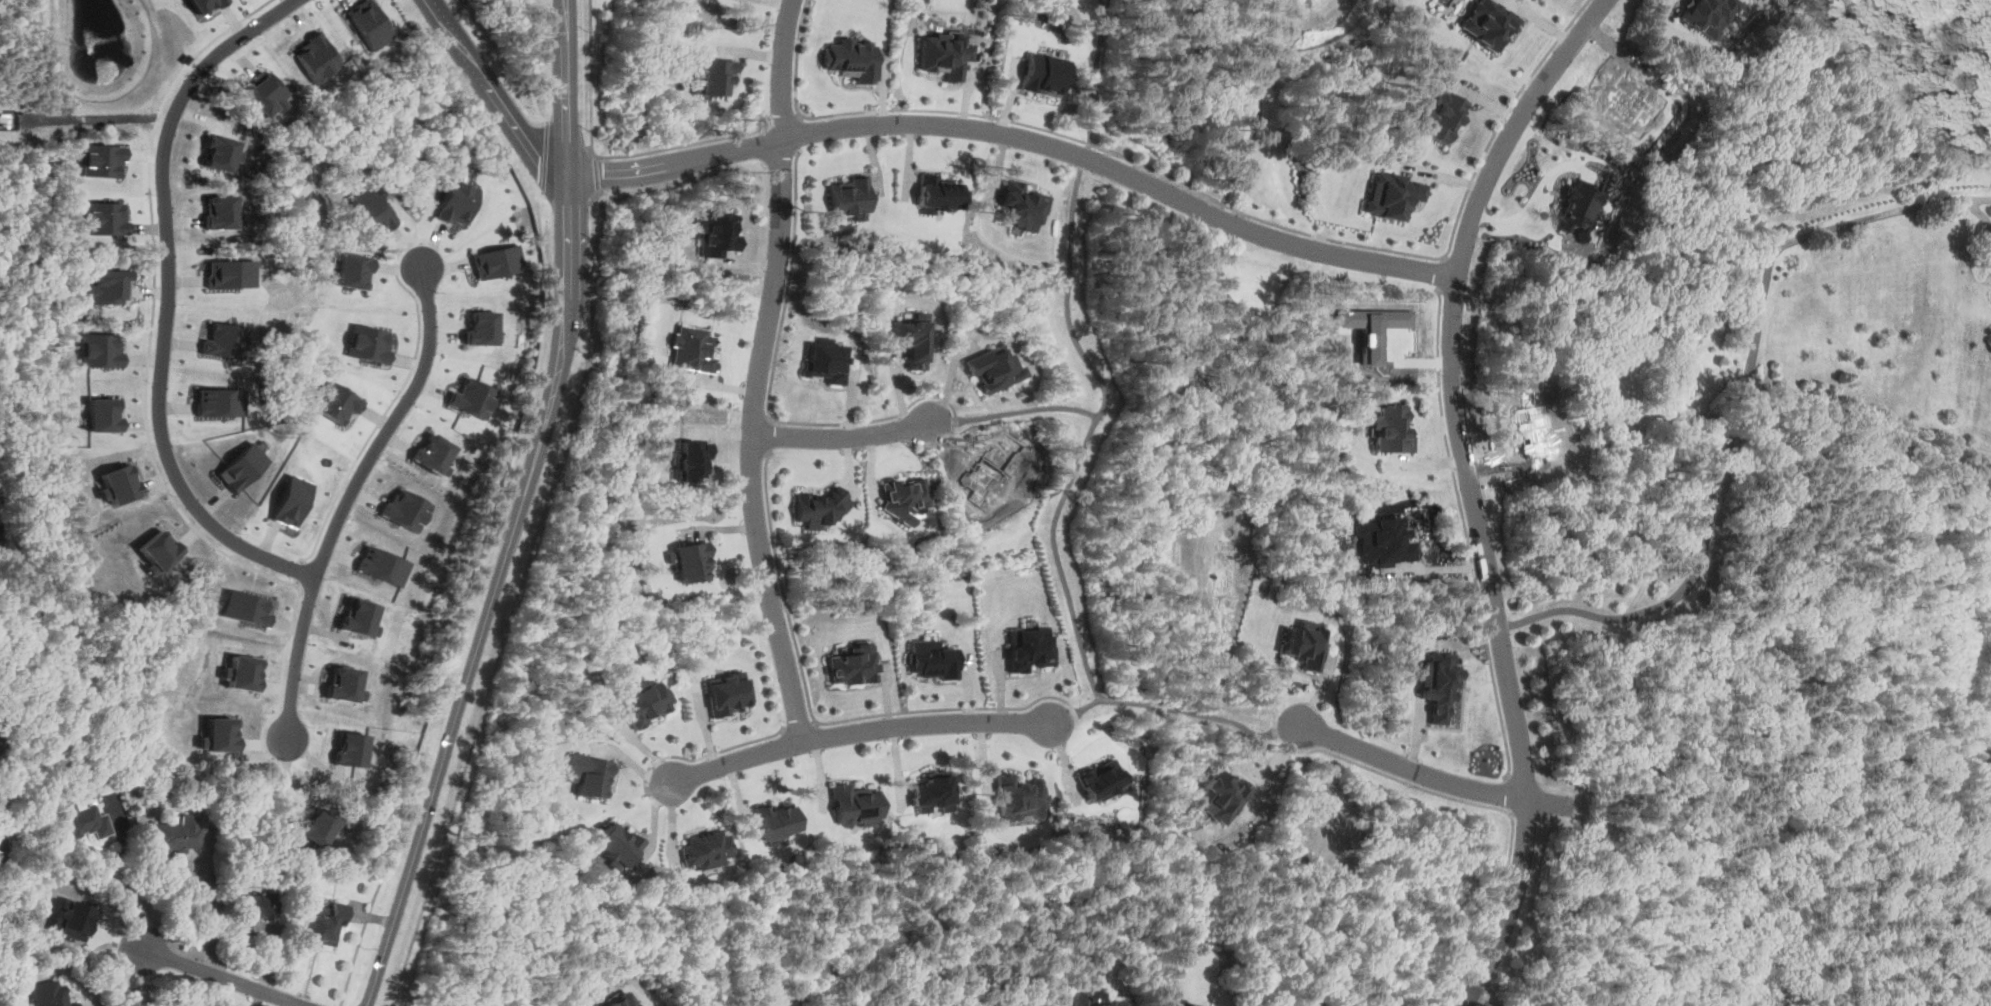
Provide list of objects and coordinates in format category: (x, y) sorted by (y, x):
building: (202, 4)
building: (1705, 14)
building: (367, 23)
building: (1487, 23)
building: (944, 55)
building: (315, 56)
building: (183, 58)
building: (852, 59)
road: (1095, 70)
building: (1046, 74)
building: (712, 76)
building: (264, 94)
road: (493, 96)
road: (1259, 105)
road: (799, 115)
road: (96, 116)
building: (1441, 116)
road: (783, 122)
road: (798, 132)
road: (1020, 136)
road: (1088, 144)
building: (220, 152)
road: (1084, 155)
road: (596, 156)
road: (606, 156)
building: (102, 159)
road: (597, 173)
building: (938, 194)
road: (1207, 196)
building: (1388, 196)
building: (849, 197)
building: (456, 201)
road: (1220, 205)
building: (1021, 206)
building: (1577, 208)
building: (370, 210)
building: (222, 212)
road: (1217, 212)
building: (104, 218)
building: (716, 234)
road: (1443, 257)
building: (497, 261)
building: (352, 270)
building: (231, 273)
road: (1441, 273)
building: (105, 286)
road: (167, 305)
building: (1371, 326)
building: (480, 328)
building: (916, 339)
building: (224, 340)
building: (367, 343)
building: (693, 349)
building: (100, 350)
building: (827, 361)
building: (996, 367)
road: (762, 373)
road: (772, 386)
building: (472, 398)
building: (219, 402)
building: (335, 402)
road: (1028, 409)
building: (102, 414)
road: (771, 416)
road: (1741, 420)
road: (942, 422)
building: (1391, 430)
building: (1531, 430)
road: (1091, 433)
road: (769, 434)
road: (843, 438)
building: (432, 454)
building: (696, 461)
building: (242, 465)
building: (987, 472)
road: (1464, 477)
building: (115, 484)
building: (904, 498)
building: (290, 500)
road: (353, 500)
building: (819, 508)
building: (406, 509)
road: (519, 511)
road: (1464, 534)
building: (1383, 542)
building: (156, 551)
building: (691, 561)
building: (383, 565)
road: (1435, 568)
road: (783, 588)
road: (516, 599)
building: (244, 608)
building: (359, 618)
building: (1304, 643)
building: (1030, 647)
building: (933, 658)
building: (854, 664)
building: (239, 673)
building: (1437, 682)
building: (344, 684)
building: (726, 693)
road: (1111, 699)
building: (644, 703)
road: (1159, 706)
road: (950, 708)
road: (1221, 717)
road: (1062, 720)
road: (799, 728)
road: (1287, 728)
building: (216, 734)
road: (857, 737)
building: (350, 749)
road: (704, 756)
building: (589, 773)
road: (1434, 775)
building: (1102, 781)
building: (935, 791)
road: (1511, 793)
building: (1219, 796)
building: (1021, 798)
building: (855, 805)
road: (1480, 806)
road: (1508, 811)
road: (1527, 813)
building: (82, 819)
road: (1544, 819)
building: (776, 820)
building: (316, 826)
building: (1311, 828)
building: (176, 835)
building: (619, 844)
building: (706, 848)
road: (113, 885)
road: (2, 889)
building: (252, 909)
road: (209, 914)
building: (75, 917)
building: (322, 922)
road: (359, 938)
road: (223, 976)
road: (122, 981)
road: (1468, 992)
building: (50, 995)
building: (624, 1000)
building: (1085, 1000)
road: (1482, 1000)
building: (1189, 1005)

